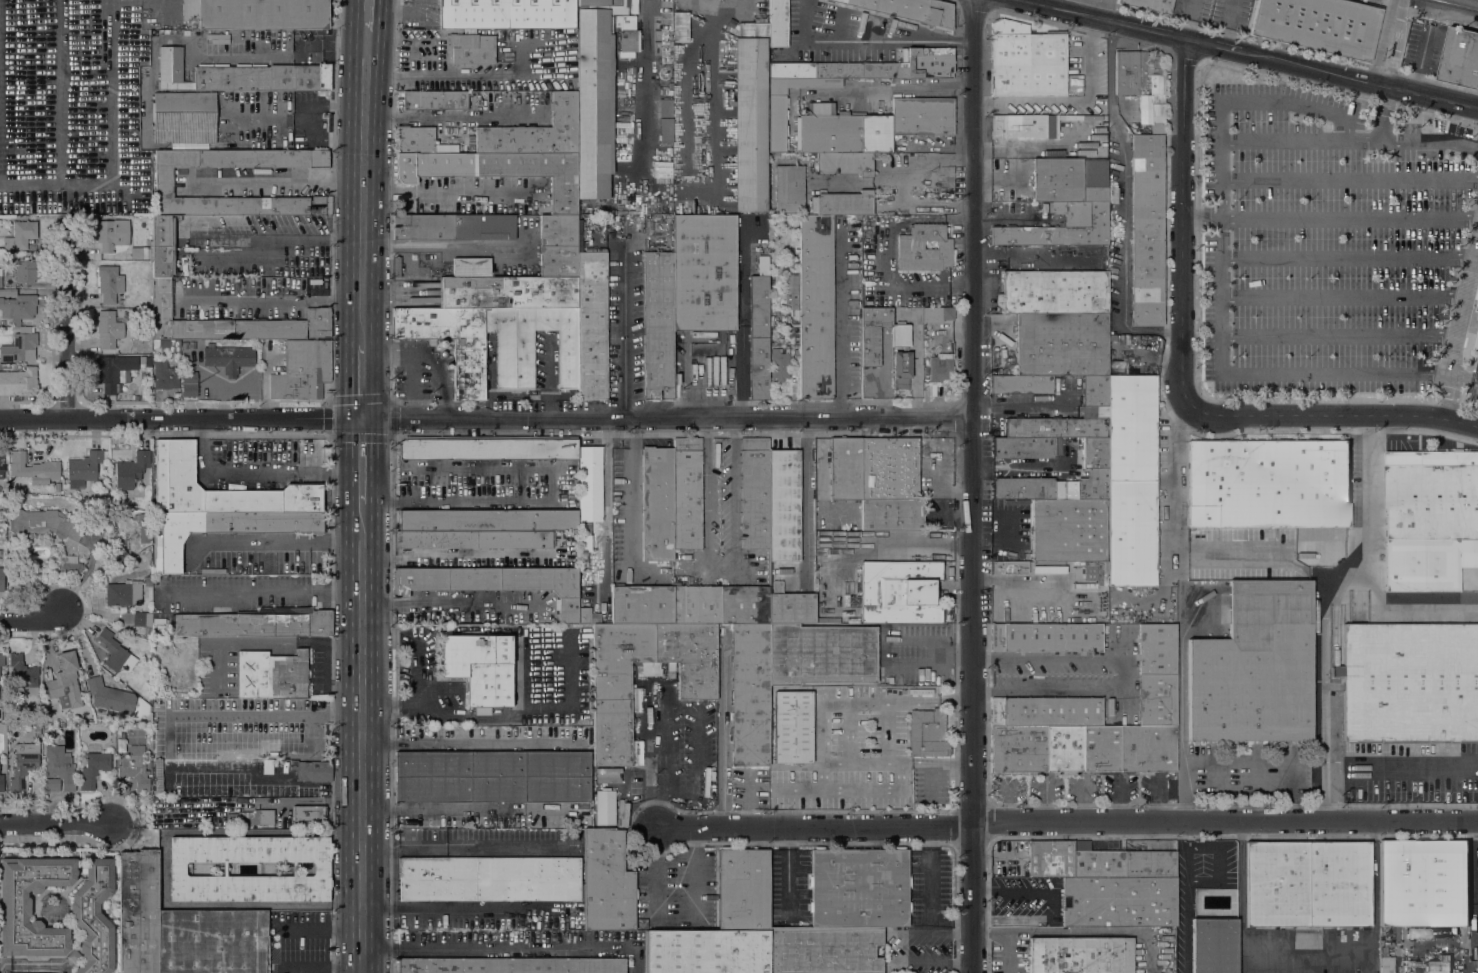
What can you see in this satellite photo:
railway: (1457, 4)
building: (1150, 5)
building: (910, 10)
road: (399, 11)
building: (506, 13)
building: (258, 14)
road: (366, 14)
road: (1104, 20)
building: (778, 23)
building: (1318, 25)
building: (680, 27)
building: (627, 35)
building: (217, 39)
road: (870, 42)
road: (1389, 42)
road: (366, 45)
road: (1215, 47)
building: (469, 49)
building: (1460, 57)
building: (928, 61)
building: (1027, 61)
building: (837, 69)
building: (239, 75)
road: (469, 77)
road: (1430, 79)
road: (1361, 80)
road: (645, 82)
building: (1142, 82)
road: (889, 85)
building: (596, 94)
building: (435, 100)
building: (749, 114)
building: (922, 116)
road: (452, 117)
building: (185, 119)
building: (666, 120)
building: (1100, 120)
road: (61, 122)
building: (777, 123)
building: (1030, 126)
building: (841, 130)
building: (536, 132)
building: (415, 139)
road: (1282, 140)
road: (1410, 140)
building: (845, 162)
road: (1221, 163)
building: (499, 171)
road: (1001, 175)
road: (1349, 179)
road: (278, 181)
building: (164, 183)
building: (789, 189)
road: (444, 194)
road: (362, 202)
road: (1125, 202)
building: (845, 203)
building: (813, 204)
building: (1065, 204)
building: (321, 205)
road: (1201, 218)
road: (1349, 219)
road: (1182, 225)
building: (453, 226)
building: (558, 230)
building: (1147, 230)
building: (163, 231)
building: (112, 234)
building: (21, 235)
road: (271, 237)
parking lot: (1329, 238)
building: (911, 245)
road: (280, 251)
building: (140, 253)
road: (1347, 257)
building: (558, 260)
building: (162, 262)
building: (396, 266)
building: (472, 267)
building: (765, 267)
building: (25, 270)
building: (704, 273)
building: (0, 277)
building: (109, 282)
building: (507, 292)
building: (1055, 292)
road: (1343, 296)
road: (268, 299)
building: (16, 305)
building: (788, 305)
building: (816, 306)
building: (937, 314)
building: (591, 320)
building: (230, 323)
road: (66, 325)
building: (658, 325)
building: (108, 329)
road: (742, 329)
road: (1456, 329)
building: (873, 334)
building: (901, 335)
road: (1338, 335)
road: (624, 338)
building: (758, 338)
building: (1476, 341)
building: (532, 343)
building: (1062, 343)
building: (167, 345)
building: (19, 346)
building: (228, 358)
building: (145, 360)
road: (838, 361)
building: (779, 363)
building: (1006, 363)
building: (940, 366)
building: (902, 369)
building: (112, 370)
building: (302, 371)
road: (1335, 371)
building: (469, 372)
building: (165, 374)
road: (1462, 377)
road: (916, 381)
building: (18, 382)
road: (362, 382)
building: (189, 384)
building: (1022, 384)
building: (1095, 390)
road: (330, 400)
road: (1333, 416)
road: (181, 420)
road: (668, 420)
traffic signals: (363, 421)
building: (1060, 426)
building: (1026, 446)
building: (488, 448)
building: (1095, 452)
road: (363, 462)
building: (2, 463)
road: (938, 464)
building: (845, 467)
building: (83, 468)
building: (889, 468)
building: (34, 469)
building: (131, 470)
road: (260, 470)
building: (168, 475)
building: (1131, 480)
road: (1174, 480)
building: (1268, 484)
road: (974, 486)
building: (1053, 487)
road: (631, 490)
road: (719, 490)
building: (687, 493)
building: (754, 494)
building: (246, 495)
building: (589, 496)
building: (657, 503)
building: (784, 505)
building: (838, 511)
building: (1, 514)
building: (892, 514)
building: (1430, 519)
building: (487, 520)
road: (363, 521)
building: (44, 524)
building: (144, 527)
building: (227, 529)
building: (1068, 530)
building: (474, 538)
road: (266, 539)
building: (564, 539)
road: (1283, 551)
building: (0, 552)
building: (71, 564)
building: (1015, 567)
building: (1049, 569)
building: (1090, 573)
building: (2, 579)
road: (1024, 579)
building: (496, 582)
building: (900, 592)
building: (124, 593)
road: (1411, 602)
road: (452, 603)
building: (642, 604)
building: (697, 604)
building: (745, 604)
building: (790, 606)
road: (1321, 609)
building: (586, 615)
building: (136, 619)
building: (256, 622)
road: (34, 623)
building: (1046, 638)
road: (889, 640)
building: (1156, 648)
building: (116, 654)
building: (821, 654)
building: (2, 659)
building: (1255, 667)
building: (480, 668)
road: (1128, 673)
building: (23, 674)
building: (271, 675)
building: (65, 682)
building: (1410, 683)
building: (697, 685)
building: (750, 693)
building: (110, 696)
building: (1157, 699)
road: (852, 701)
road: (1181, 710)
building: (1046, 711)
building: (793, 727)
road: (849, 733)
road: (887, 733)
building: (928, 733)
building: (121, 745)
building: (1148, 746)
building: (1064, 747)
building: (1101, 747)
building: (296, 748)
building: (1019, 748)
road: (363, 756)
road: (661, 757)
building: (23, 763)
road: (896, 765)
road: (1233, 766)
building: (136, 767)
building: (93, 769)
building: (607, 769)
road: (1400, 769)
building: (59, 770)
building: (311, 770)
building: (492, 777)
building: (2, 783)
road: (932, 783)
road: (849, 792)
building: (605, 806)
road: (469, 809)
building: (307, 816)
building: (249, 818)
road: (1226, 822)
road: (53, 825)
road: (816, 828)
building: (1080, 844)
building: (1048, 859)
building: (1099, 864)
building: (1150, 864)
building: (321, 869)
road: (163, 870)
building: (489, 879)
building: (607, 881)
building: (1308, 883)
building: (1424, 883)
building: (859, 887)
building: (743, 890)
road: (1187, 897)
building: (1118, 901)
road: (1051, 903)
building: (15, 907)
road: (453, 908)
building: (138, 911)
building: (94, 916)
road: (322, 928)
building: (212, 942)
building: (1214, 945)
road: (508, 949)
building: (824, 949)
building: (707, 952)
road: (1306, 954)
building: (1081, 955)
building: (512, 965)
road: (321, 968)
building: (31, 972)

